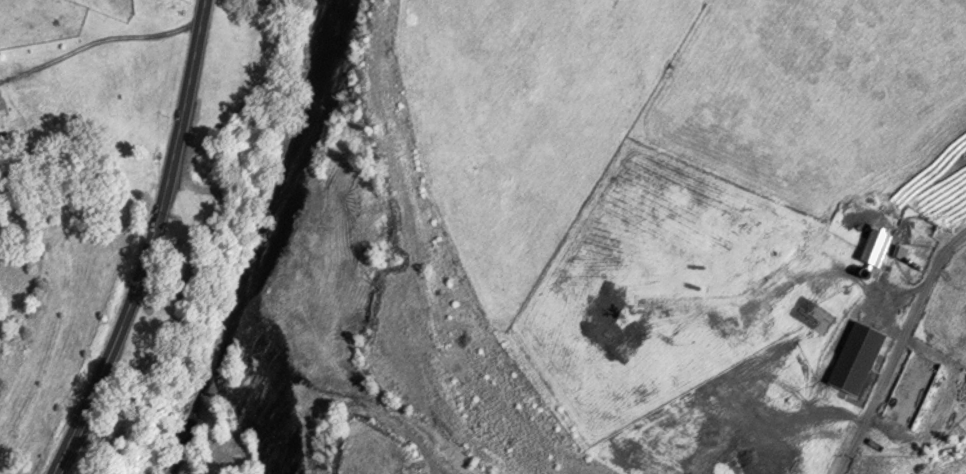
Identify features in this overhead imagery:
crop: (808, 92)
crop: (533, 113)
building: (2, 114)
river: (281, 243)
road: (155, 246)
building: (880, 249)
road: (898, 351)
building: (861, 360)

